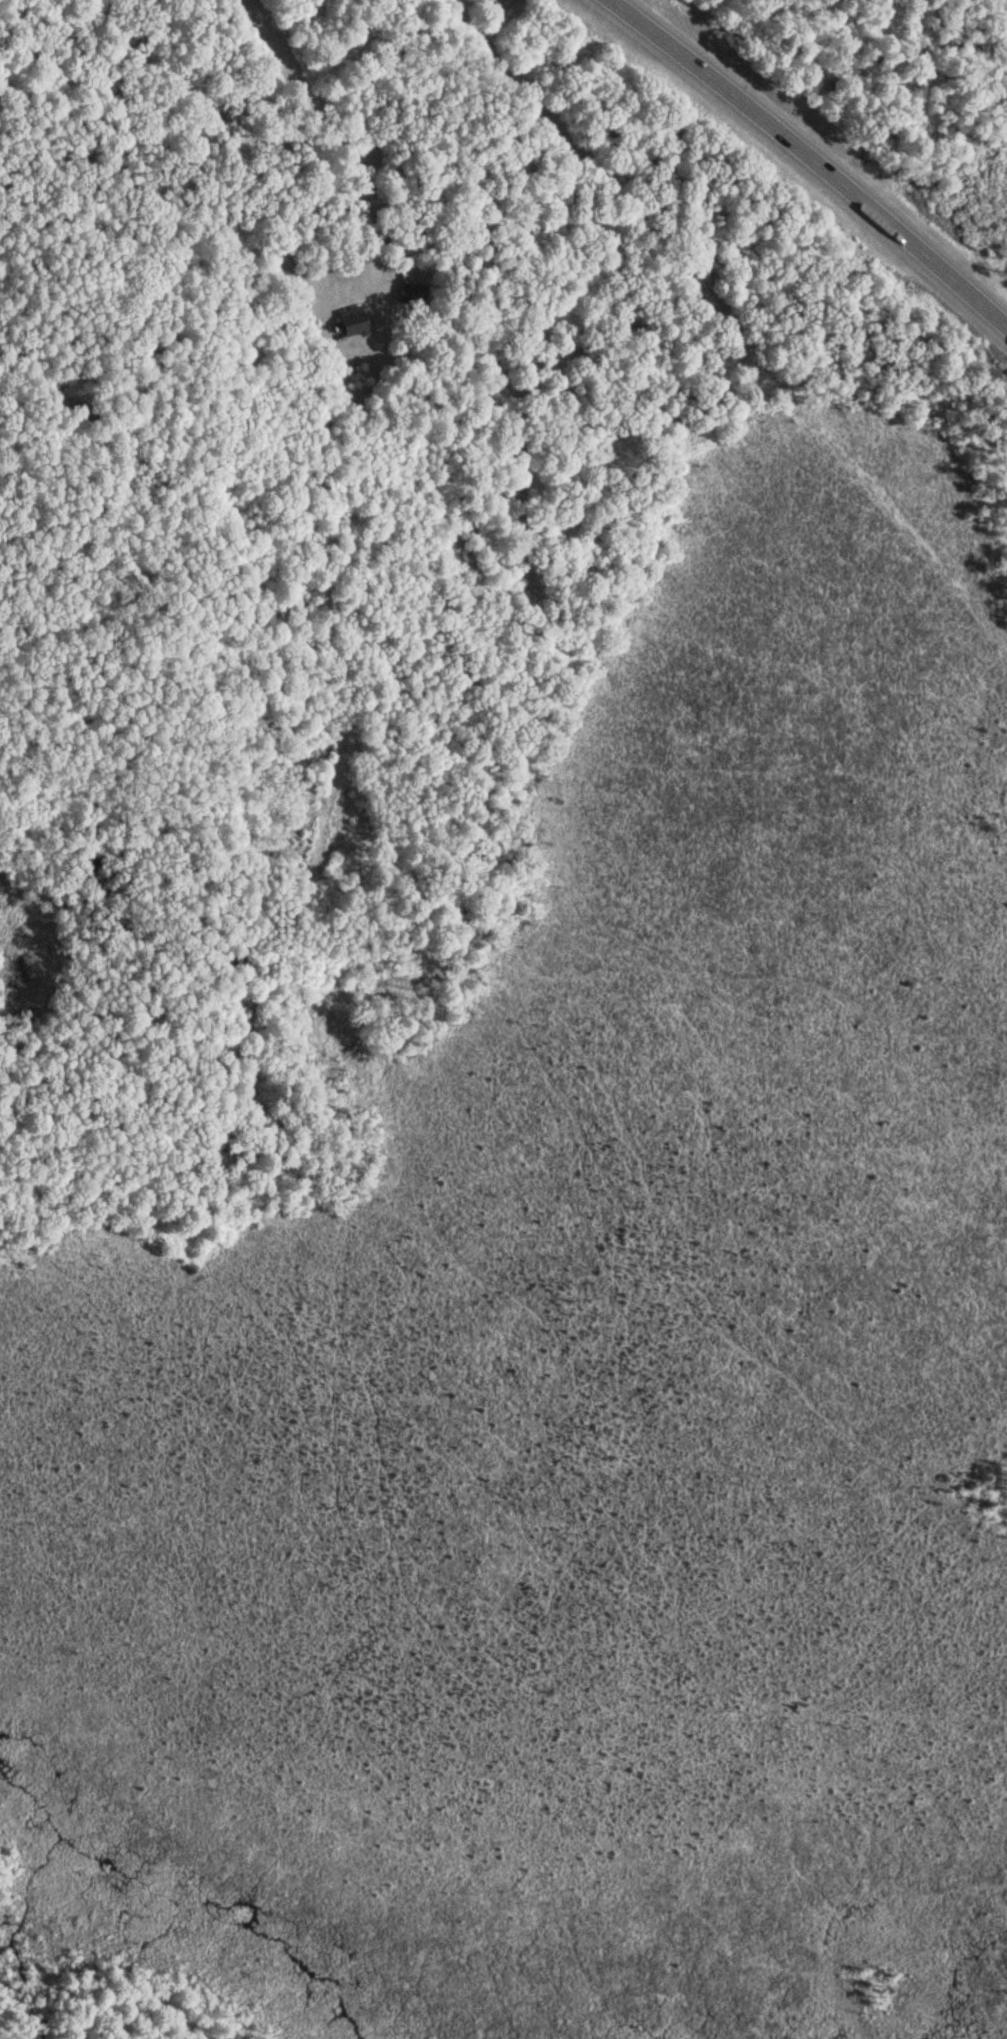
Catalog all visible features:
road: (318, 110)
road: (813, 157)
building: (353, 321)

